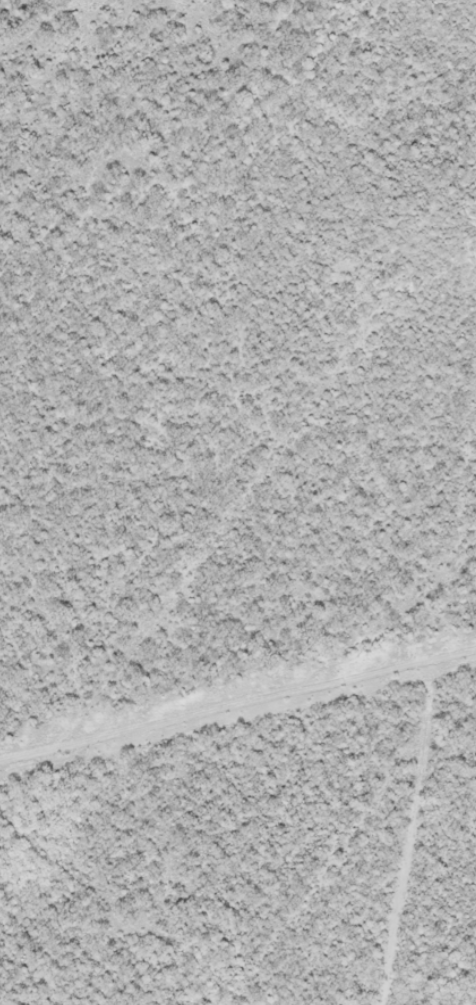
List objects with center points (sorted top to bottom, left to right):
road: (237, 646)

